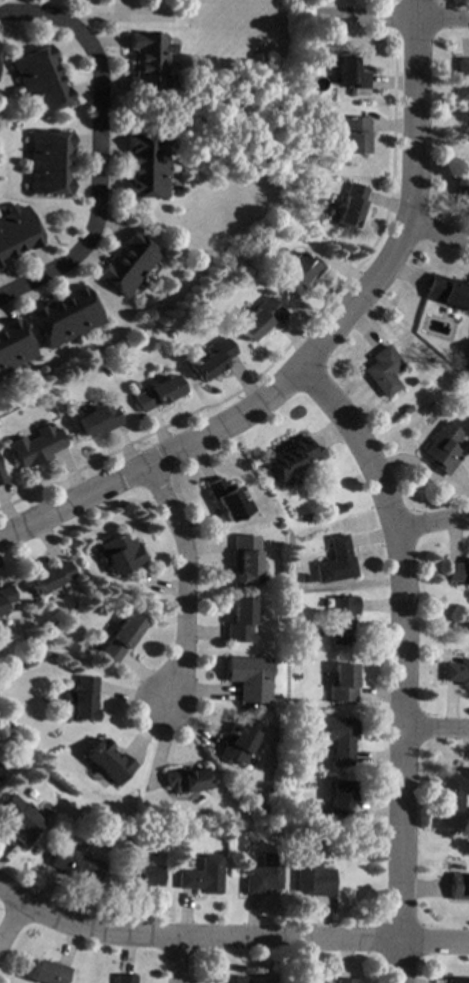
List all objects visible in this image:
road: (324, 23)
road: (59, 24)
building: (254, 57)
building: (148, 62)
building: (349, 73)
building: (462, 79)
building: (39, 81)
building: (310, 94)
building: (354, 134)
road: (96, 162)
building: (47, 163)
building: (145, 166)
building: (465, 187)
building: (351, 205)
building: (16, 233)
road: (439, 243)
building: (126, 263)
building: (298, 271)
road: (43, 280)
building: (447, 292)
building: (64, 316)
building: (256, 319)
building: (13, 344)
road: (320, 346)
building: (213, 357)
building: (382, 370)
building: (158, 392)
building: (462, 404)
building: (406, 408)
building: (98, 420)
building: (36, 446)
building: (443, 448)
building: (290, 459)
building: (2, 476)
building: (226, 499)
road: (429, 526)
building: (119, 553)
building: (245, 558)
building: (336, 561)
building: (459, 572)
building: (51, 578)
building: (305, 578)
road: (177, 584)
building: (6, 597)
building: (342, 619)
building: (240, 620)
building: (46, 628)
building: (121, 637)
road: (400, 664)
building: (457, 672)
building: (248, 677)
building: (342, 683)
building: (82, 699)
building: (299, 702)
road: (436, 728)
building: (338, 737)
building: (235, 745)
building: (108, 762)
building: (1, 772)
building: (185, 780)
building: (454, 788)
building: (340, 799)
building: (18, 819)
building: (300, 821)
building: (74, 864)
building: (262, 874)
building: (136, 876)
building: (201, 876)
building: (311, 878)
building: (458, 885)
road: (1, 900)
road: (230, 945)
road: (168, 964)
building: (46, 972)
building: (123, 979)
building: (227, 979)
building: (343, 980)
building: (457, 980)

